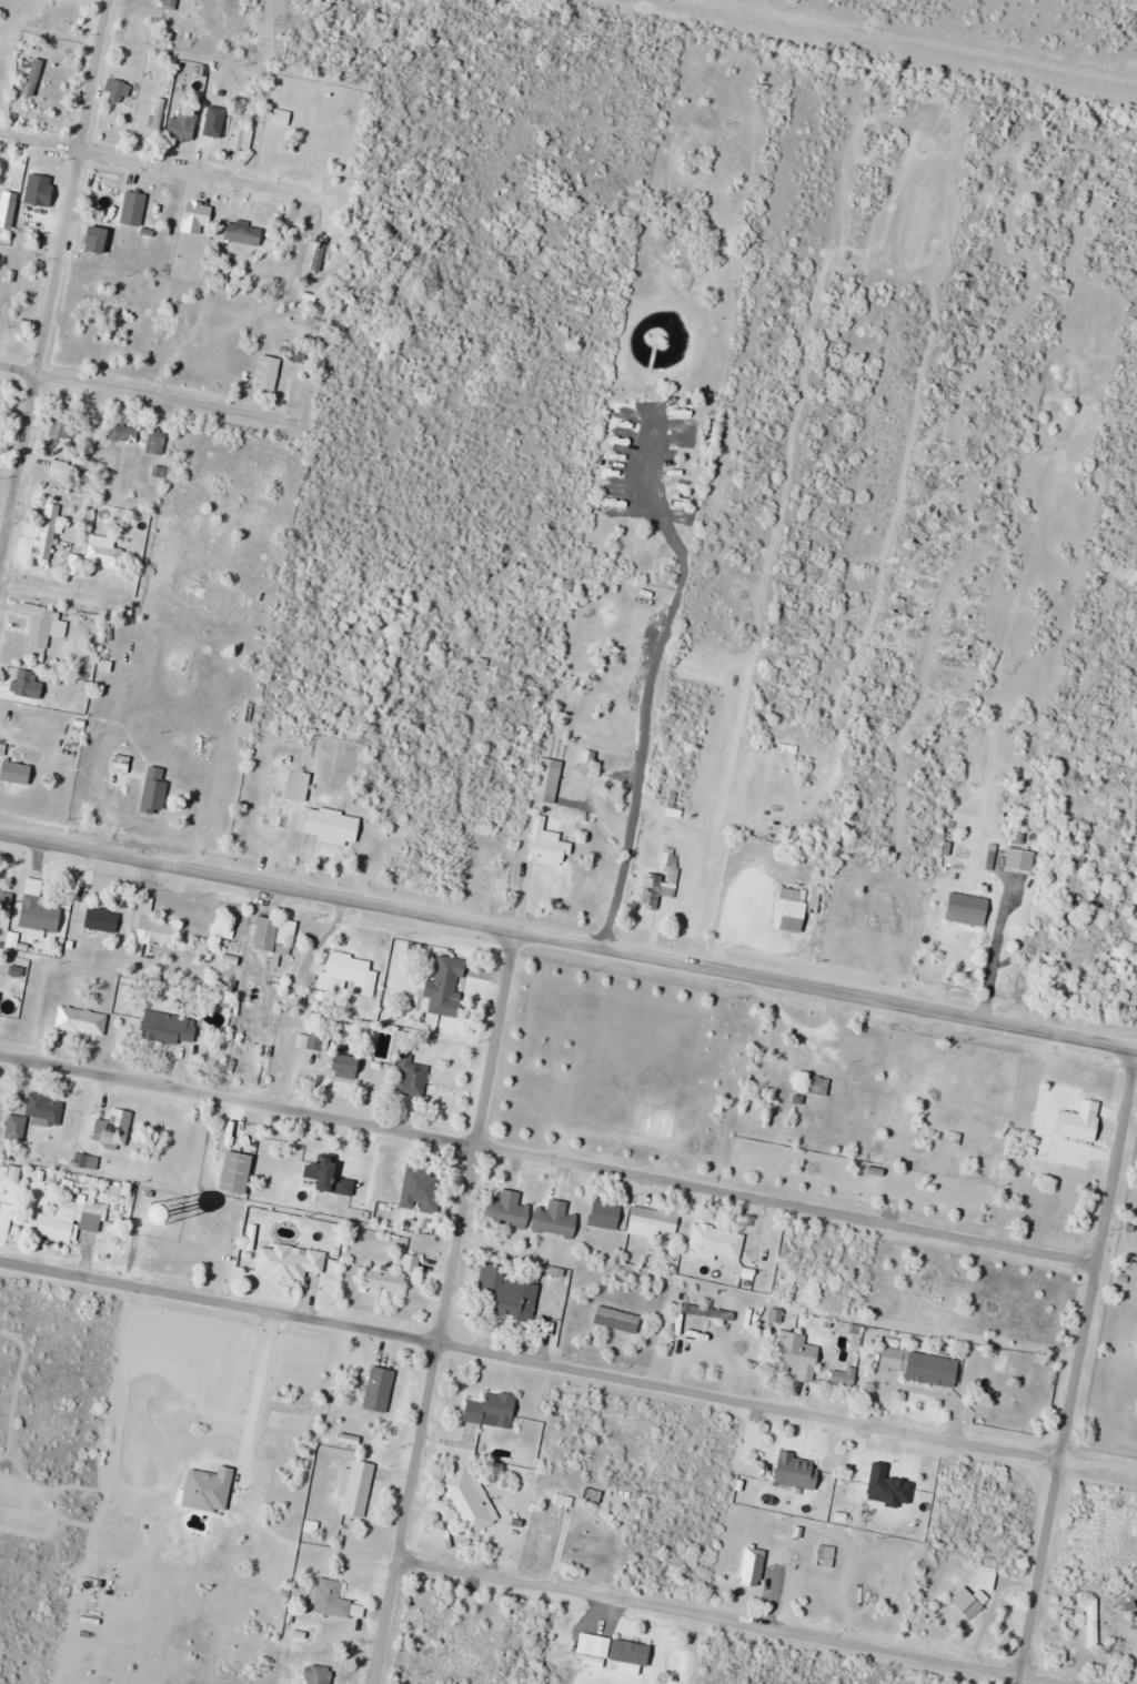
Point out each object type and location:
building: (171, 4)
building: (7, 56)
building: (34, 78)
building: (121, 87)
building: (158, 117)
building: (184, 125)
building: (217, 131)
building: (235, 142)
road: (168, 168)
building: (16, 174)
building: (0, 194)
building: (127, 208)
building: (198, 218)
building: (245, 233)
building: (99, 241)
road: (52, 283)
building: (7, 315)
building: (269, 374)
road: (145, 390)
building: (62, 427)
building: (125, 433)
building: (159, 442)
building: (60, 470)
building: (48, 532)
building: (105, 546)
road: (47, 582)
building: (40, 624)
building: (696, 664)
road: (638, 684)
building: (18, 772)
building: (120, 774)
building: (549, 779)
building: (157, 788)
building: (288, 797)
building: (676, 805)
building: (334, 826)
building: (547, 845)
building: (1022, 860)
building: (662, 880)
road: (1043, 893)
building: (4, 907)
building: (792, 909)
building: (958, 909)
building: (41, 915)
building: (103, 920)
building: (276, 935)
building: (152, 937)
road: (568, 940)
building: (350, 975)
building: (447, 987)
building: (83, 1020)
building: (171, 1028)
building: (826, 1059)
building: (349, 1065)
building: (412, 1078)
building: (817, 1086)
building: (36, 1115)
building: (1083, 1121)
building: (115, 1129)
road: (547, 1160)
building: (87, 1161)
building: (238, 1172)
building: (422, 1190)
building: (511, 1209)
building: (606, 1216)
building: (94, 1218)
building: (556, 1220)
building: (54, 1221)
building: (653, 1222)
building: (717, 1242)
building: (290, 1262)
building: (393, 1274)
building: (512, 1291)
road: (449, 1307)
building: (618, 1320)
park: (1117, 1337)
building: (798, 1357)
road: (568, 1364)
building: (923, 1365)
road: (1076, 1372)
building: (845, 1377)
building: (380, 1390)
building: (493, 1410)
building: (359, 1489)
building: (893, 1489)
building: (471, 1503)
building: (754, 1567)
building: (988, 1579)
building: (332, 1599)
building: (970, 1602)
road: (737, 1621)
building: (623, 1657)

